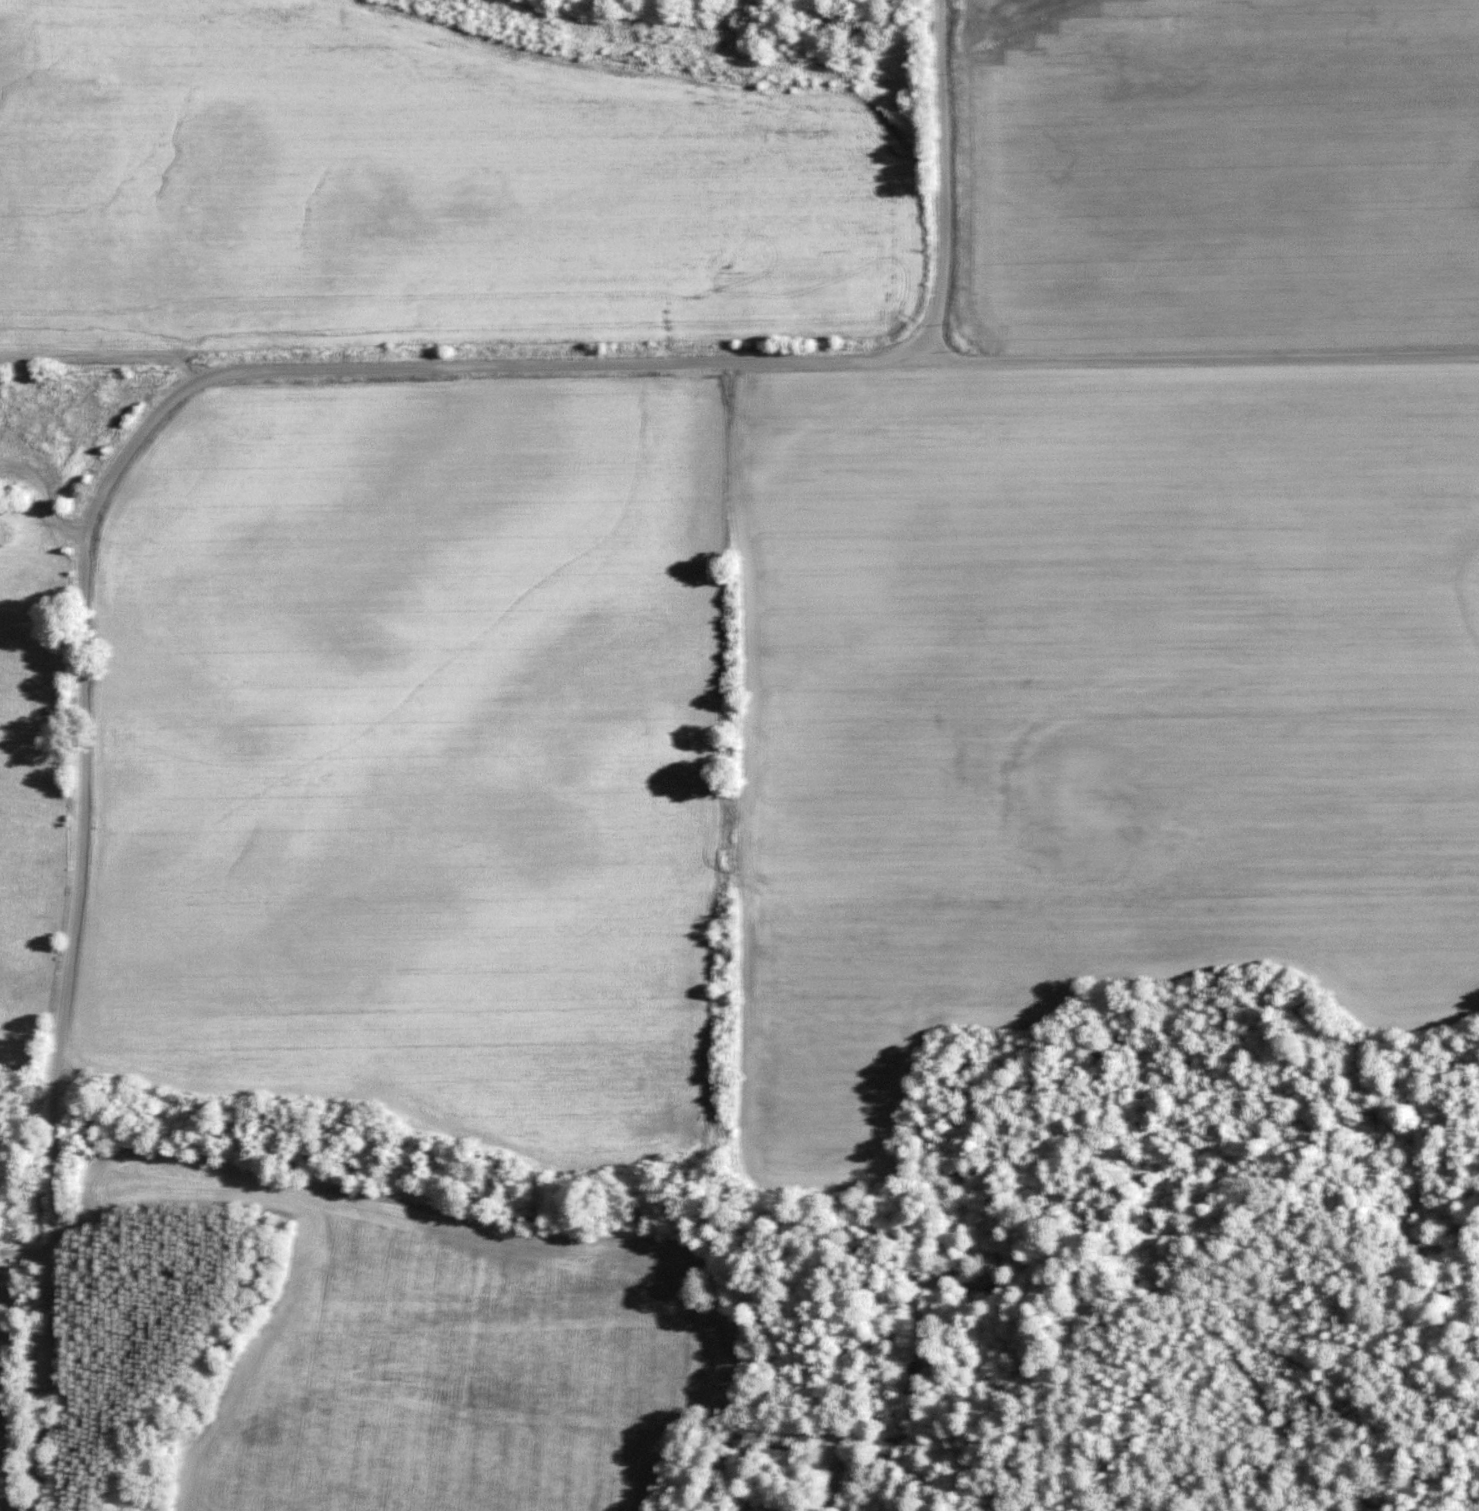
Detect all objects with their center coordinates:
road: (942, 171)
road: (1197, 359)
road: (42, 510)
road: (87, 561)

